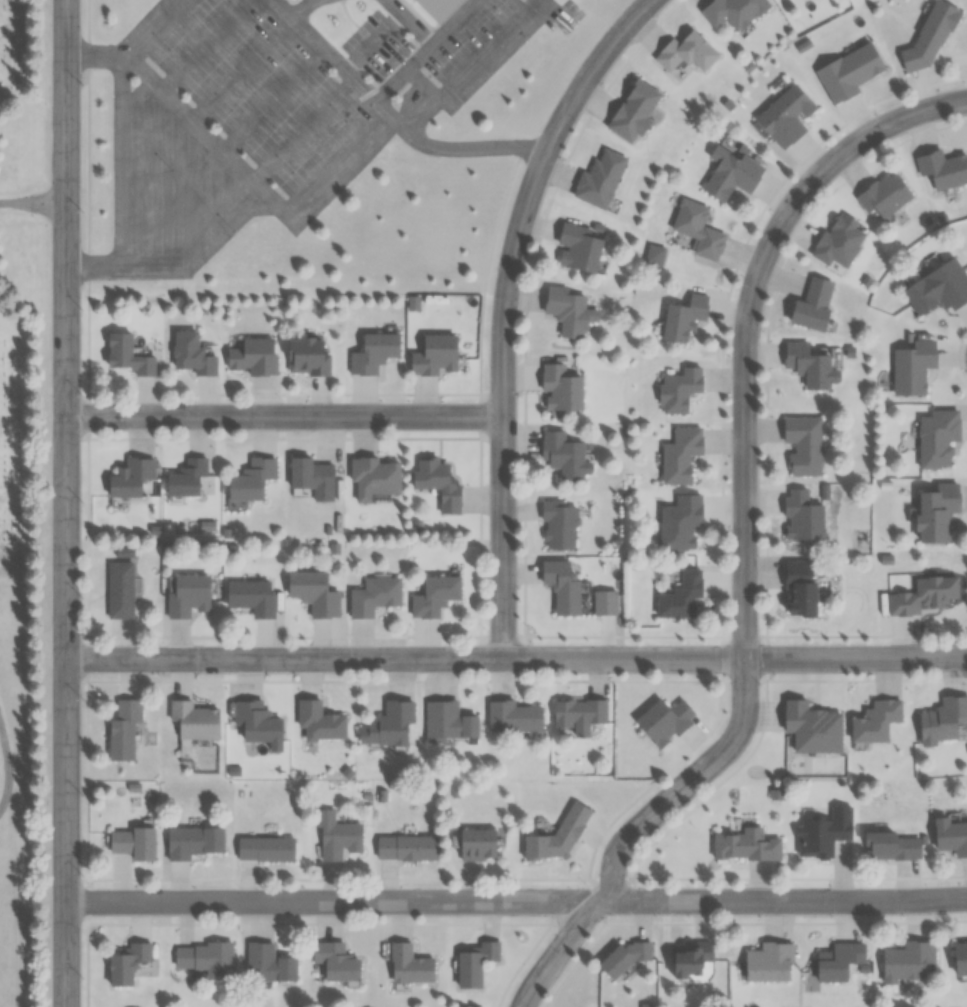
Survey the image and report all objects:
building: (553, 3)
road: (299, 8)
building: (431, 10)
building: (731, 11)
road: (447, 22)
road: (158, 28)
building: (929, 36)
road: (369, 44)
parking lot: (471, 45)
parking lot: (371, 47)
road: (420, 48)
building: (684, 53)
road: (185, 57)
road: (470, 67)
parking lot: (242, 71)
building: (847, 72)
road: (207, 100)
road: (184, 111)
building: (631, 111)
building: (783, 115)
road: (387, 117)
road: (224, 147)
parking lot: (313, 148)
road: (119, 160)
road: (332, 162)
building: (942, 169)
road: (262, 172)
building: (729, 175)
building: (598, 179)
road: (528, 190)
building: (882, 195)
road: (33, 203)
street lamp: (82, 210)
building: (696, 228)
building: (836, 241)
building: (576, 247)
road: (120, 266)
building: (937, 288)
building: (810, 305)
building: (567, 311)
building: (682, 317)
road: (747, 321)
building: (372, 351)
building: (190, 354)
building: (433, 354)
building: (125, 355)
building: (252, 356)
building: (304, 356)
building: (807, 365)
building: (911, 366)
building: (558, 388)
building: (677, 389)
street lamp: (82, 393)
road: (284, 415)
building: (936, 437)
building: (802, 444)
building: (678, 454)
building: (563, 456)
building: (129, 477)
building: (311, 477)
building: (372, 477)
building: (185, 478)
building: (250, 479)
building: (436, 482)
building: (153, 490)
park: (20, 502)
road: (66, 503)
building: (935, 512)
building: (800, 515)
building: (678, 522)
building: (557, 525)
road: (502, 537)
building: (560, 584)
building: (797, 587)
building: (312, 592)
building: (923, 594)
building: (113, 595)
building: (185, 595)
building: (372, 595)
building: (433, 595)
building: (250, 596)
building: (680, 596)
building: (604, 602)
road: (516, 658)
street lamp: (84, 696)
building: (578, 711)
building: (512, 716)
building: (192, 720)
building: (941, 720)
building: (663, 721)
building: (874, 721)
building: (318, 722)
building: (447, 722)
building: (256, 724)
building: (387, 724)
building: (122, 728)
road: (9, 768)
road: (637, 830)
road: (663, 831)
building: (824, 833)
building: (335, 836)
building: (556, 836)
building: (950, 836)
building: (192, 841)
building: (132, 842)
building: (475, 843)
building: (746, 845)
building: (890, 845)
building: (405, 847)
building: (259, 855)
street lamp: (83, 874)
road: (516, 901)
building: (692, 956)
building: (203, 957)
building: (959, 957)
building: (334, 961)
building: (839, 961)
building: (906, 961)
building: (768, 962)
building: (269, 963)
building: (125, 964)
building: (408, 964)
building: (474, 964)

